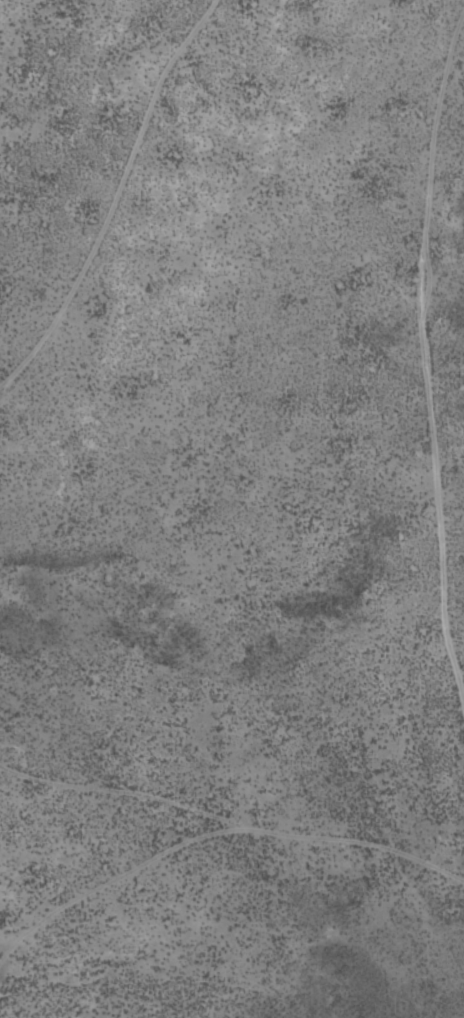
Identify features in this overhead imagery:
road: (45, 388)

